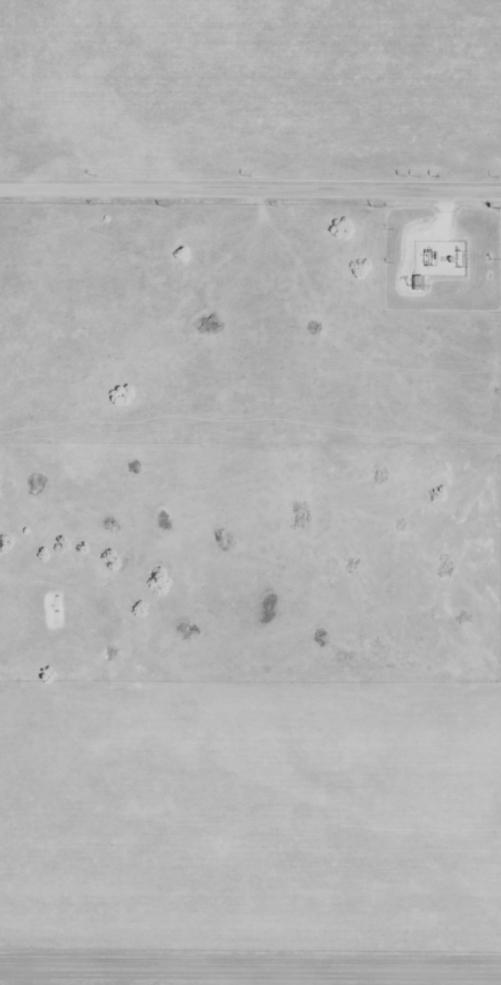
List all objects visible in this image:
road: (250, 187)
power tower: (157, 205)
power tower: (366, 205)
power tower: (487, 207)
power tower: (486, 258)
power substation: (438, 260)
building: (407, 285)

